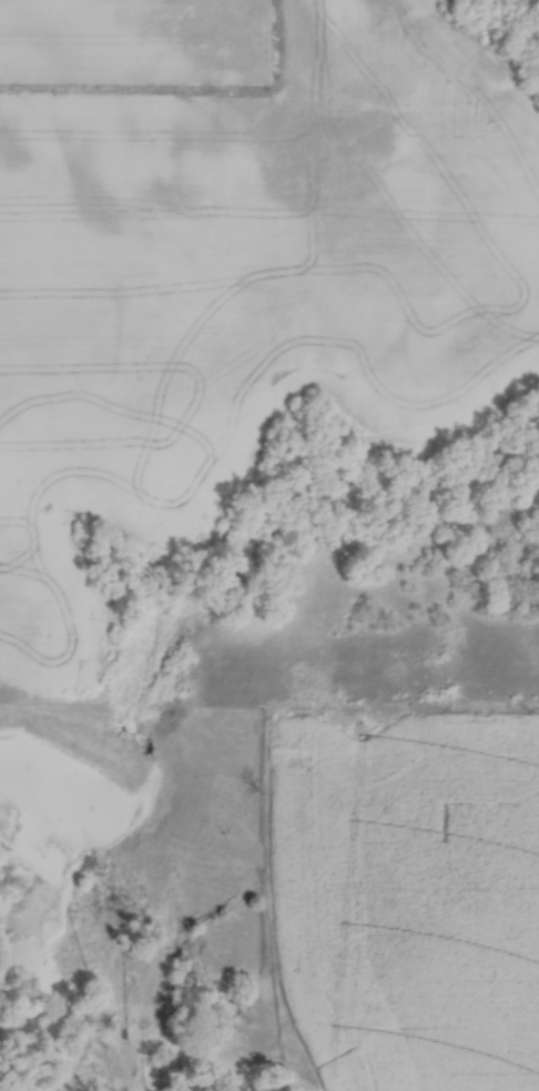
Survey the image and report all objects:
road: (134, 1083)

